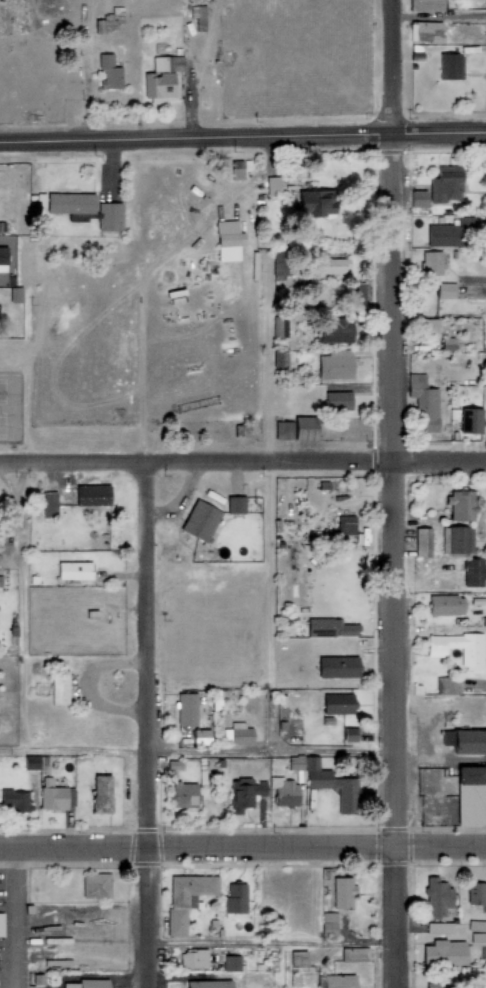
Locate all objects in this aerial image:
building: (424, 4)
road: (385, 10)
building: (12, 16)
road: (436, 17)
building: (195, 18)
building: (108, 19)
building: (427, 30)
building: (449, 64)
building: (109, 69)
building: (160, 77)
road: (243, 138)
building: (239, 169)
building: (444, 184)
building: (274, 185)
building: (326, 198)
building: (417, 198)
building: (85, 208)
building: (441, 233)
building: (227, 237)
building: (278, 257)
building: (3, 260)
building: (332, 261)
building: (431, 261)
building: (445, 289)
building: (13, 292)
building: (360, 295)
building: (279, 319)
building: (426, 324)
building: (337, 331)
building: (446, 342)
building: (280, 358)
building: (334, 365)
building: (337, 400)
building: (422, 401)
park: (7, 407)
building: (470, 418)
building: (304, 426)
building: (283, 428)
road: (243, 463)
building: (83, 500)
building: (234, 503)
road: (390, 503)
building: (461, 503)
building: (45, 504)
building: (198, 518)
building: (343, 524)
building: (460, 537)
building: (421, 541)
building: (74, 569)
building: (474, 571)
building: (443, 604)
road: (24, 607)
building: (319, 625)
building: (348, 628)
building: (471, 658)
building: (337, 666)
building: (58, 686)
building: (447, 686)
building: (214, 697)
building: (311, 700)
building: (186, 707)
building: (337, 707)
road: (149, 727)
building: (240, 733)
building: (200, 736)
building: (469, 740)
road: (196, 753)
building: (295, 761)
building: (31, 762)
building: (173, 763)
building: (201, 770)
building: (333, 784)
building: (245, 791)
building: (285, 792)
building: (101, 793)
building: (182, 793)
building: (52, 794)
building: (469, 794)
building: (12, 799)
road: (243, 850)
building: (93, 884)
building: (340, 892)
building: (476, 892)
building: (234, 896)
building: (438, 896)
building: (186, 901)
building: (2, 925)
building: (330, 925)
building: (437, 927)
building: (478, 933)
building: (354, 952)
building: (445, 952)
building: (190, 958)
building: (299, 959)
building: (230, 961)
building: (337, 981)
building: (439, 982)
building: (87, 983)
building: (211, 984)

